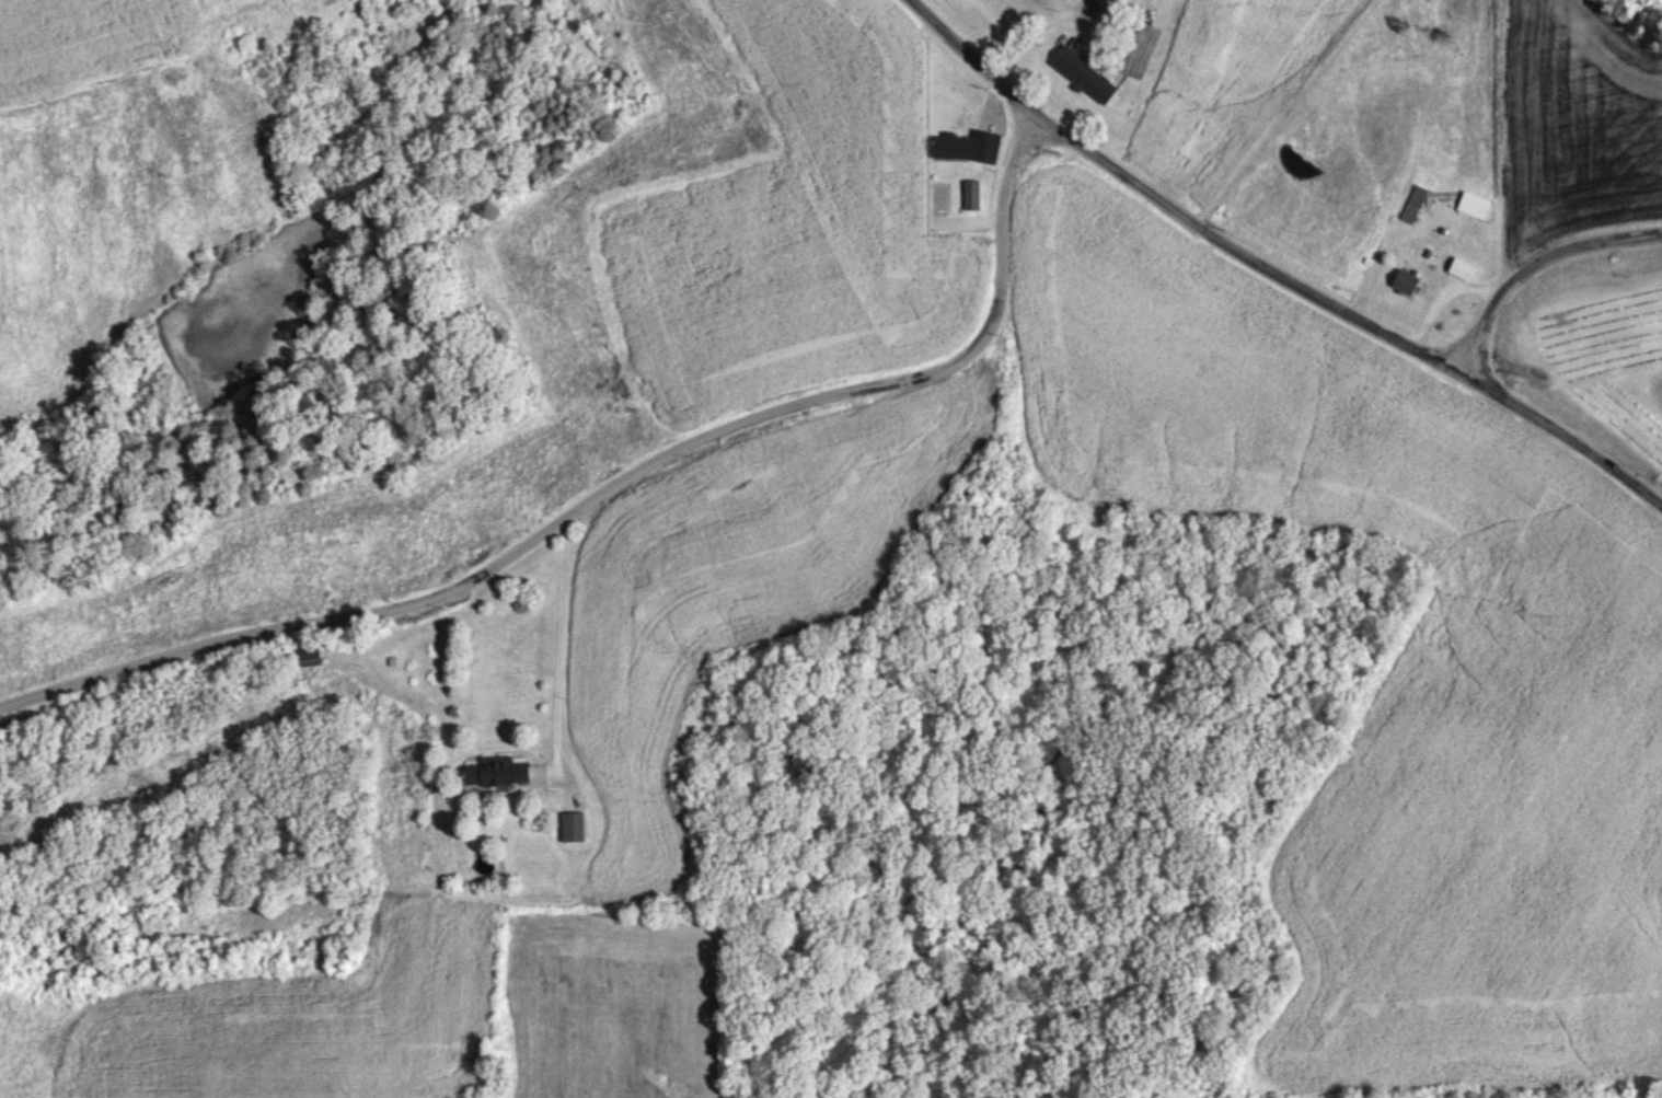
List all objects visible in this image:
building: (1136, 47)
building: (1084, 73)
building: (966, 146)
building: (972, 194)
building: (1413, 203)
building: (1474, 204)
road: (1533, 257)
road: (1276, 265)
building: (1462, 268)
building: (1406, 281)
road: (603, 484)
road: (562, 642)
building: (308, 655)
crop: (1392, 666)
building: (496, 771)
building: (572, 825)

